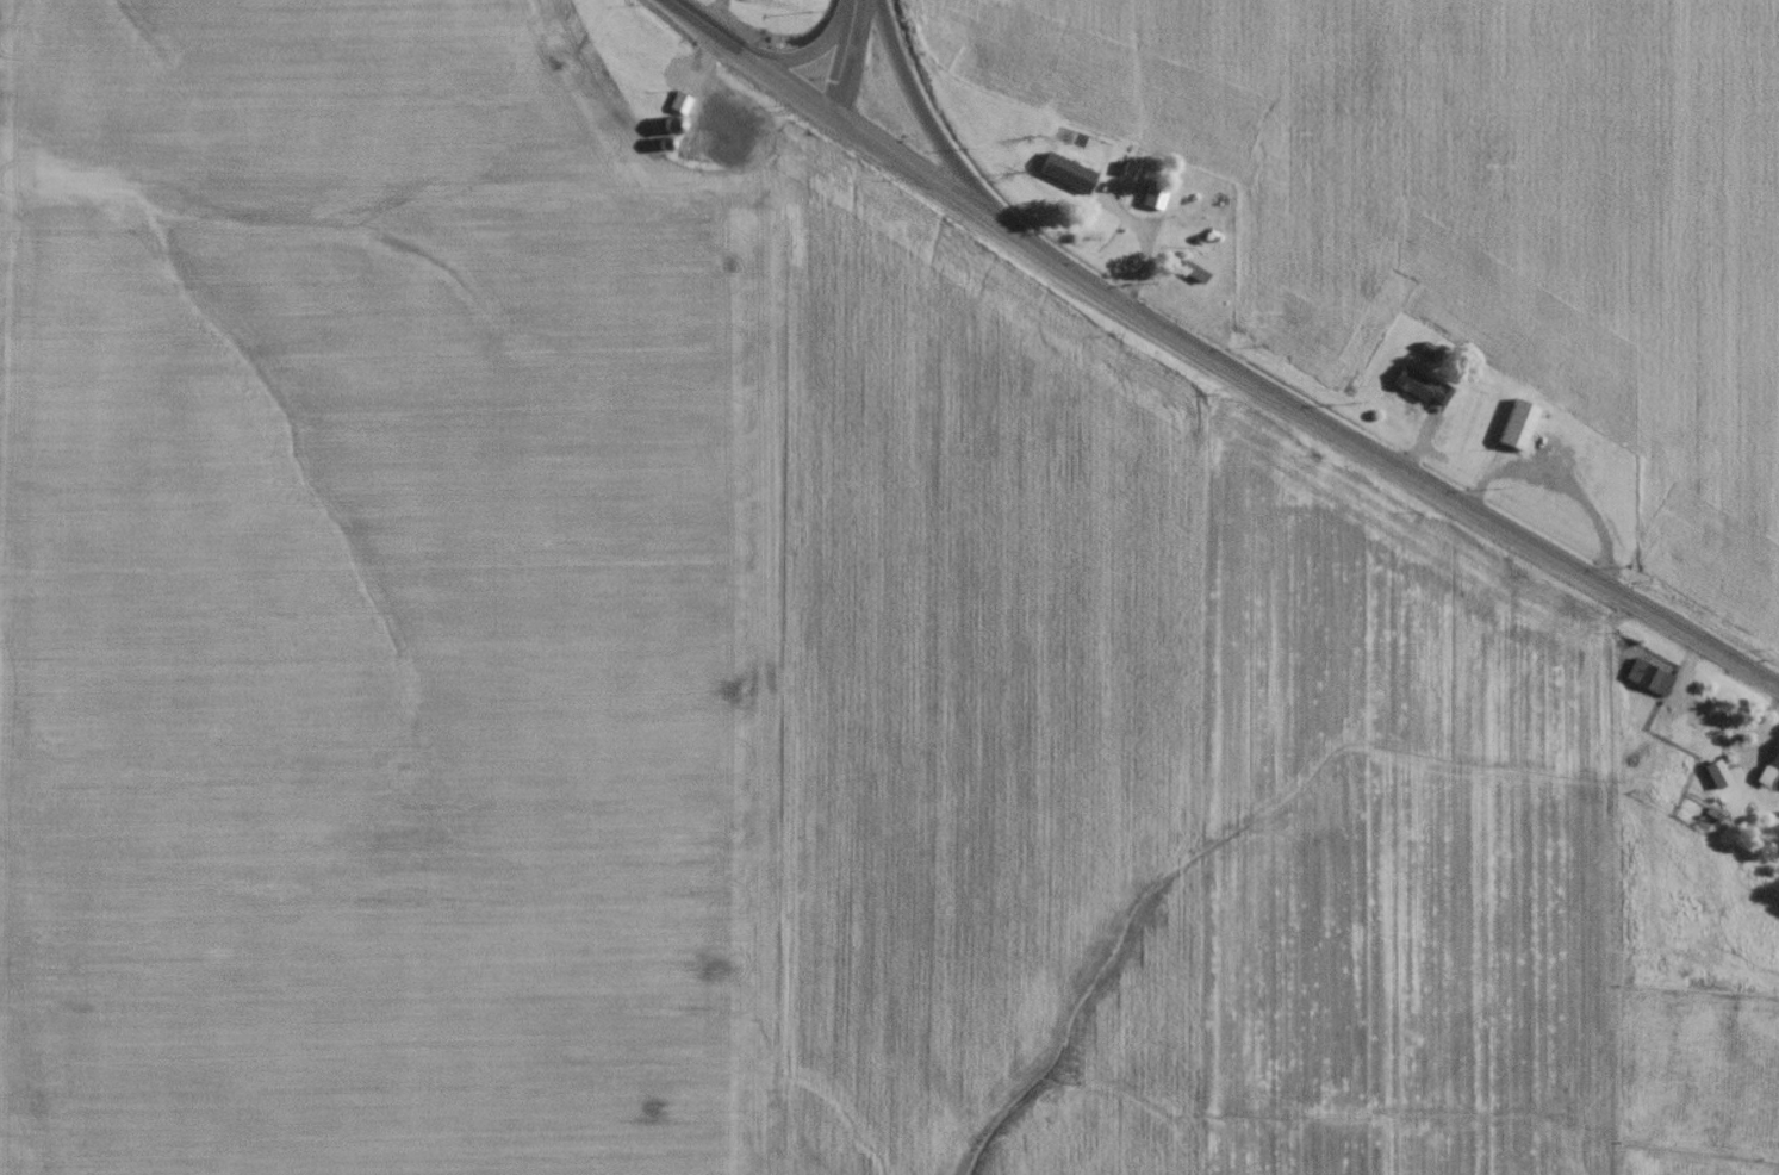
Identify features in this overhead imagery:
road: (748, 51)
road: (838, 51)
building: (674, 108)
road: (918, 108)
building: (665, 131)
road: (903, 157)
building: (1060, 178)
building: (1150, 200)
building: (1188, 272)
building: (1414, 393)
building: (1511, 430)
road: (1376, 455)
building: (1643, 683)
building: (1768, 769)
building: (1711, 778)

